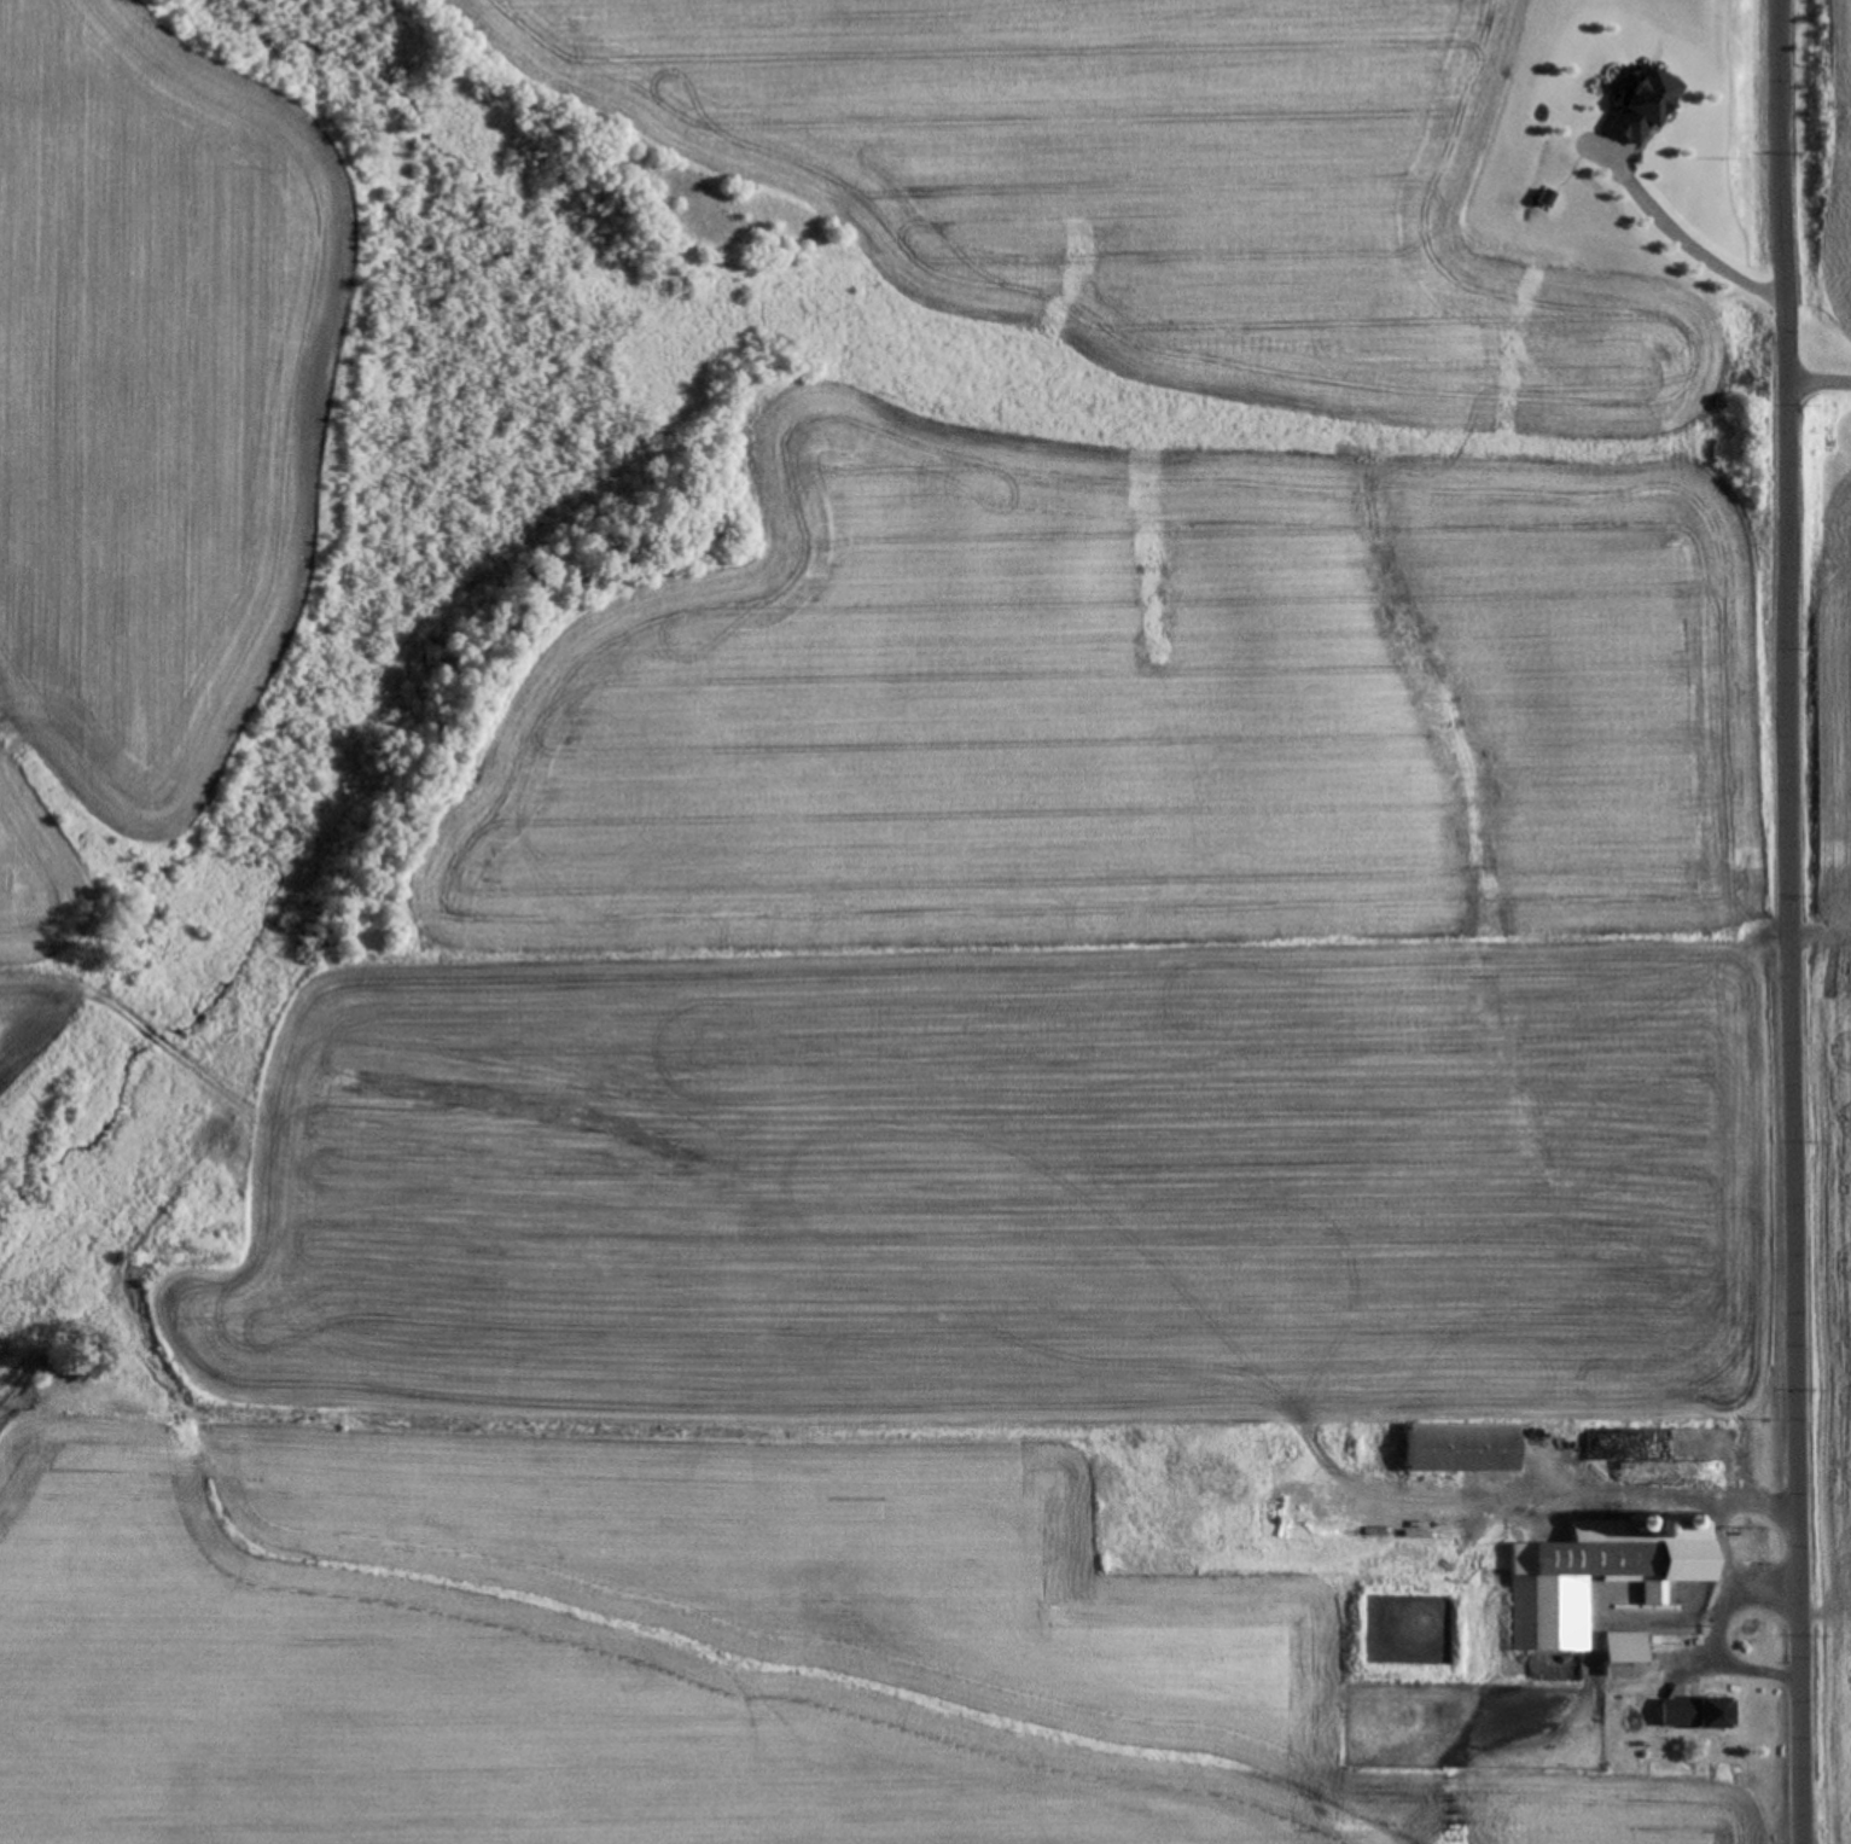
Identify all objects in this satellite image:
road: (1674, 242)
road: (1811, 380)
road: (1780, 921)
building: (1450, 1450)
building: (1648, 1473)
road: (1570, 1493)
road: (1717, 1518)
building: (1590, 1577)
road: (1713, 1636)
building: (1617, 1651)
building: (1689, 1717)

